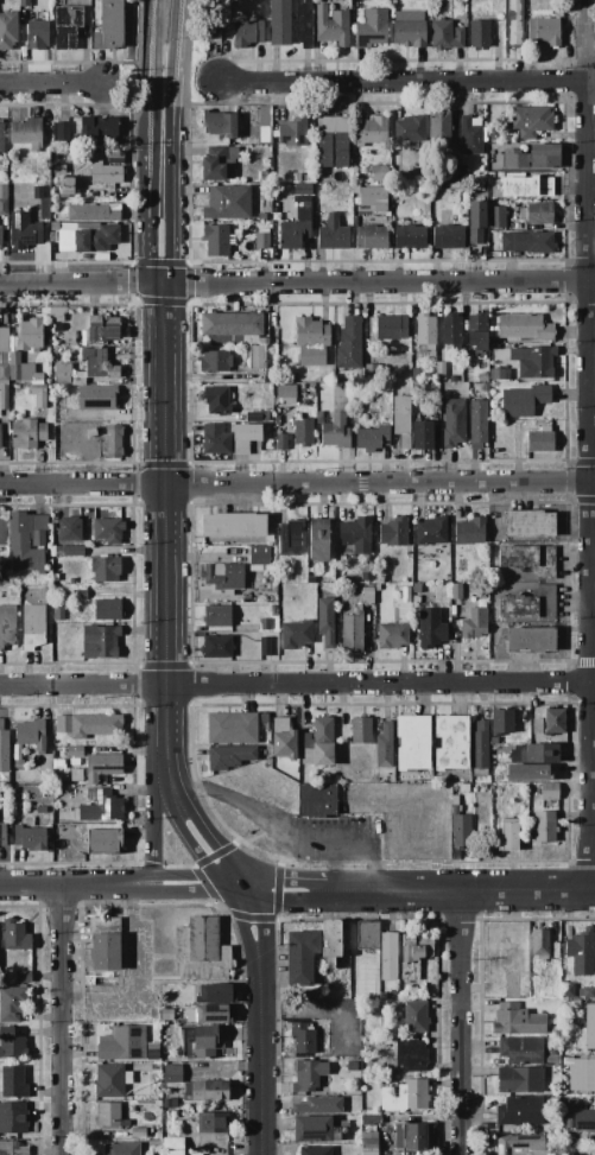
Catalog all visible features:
building: (23, 9)
road: (581, 12)
road: (154, 21)
building: (279, 23)
building: (514, 23)
building: (303, 24)
building: (109, 26)
building: (331, 26)
building: (68, 27)
building: (8, 30)
building: (372, 30)
building: (37, 31)
building: (543, 32)
building: (247, 33)
building: (409, 33)
building: (477, 34)
building: (445, 36)
road: (177, 52)
road: (151, 74)
road: (406, 78)
road: (50, 85)
road: (119, 104)
road: (203, 104)
building: (530, 120)
building: (219, 123)
building: (97, 127)
building: (409, 128)
building: (439, 129)
building: (62, 131)
building: (371, 131)
building: (293, 132)
building: (26, 133)
road: (148, 134)
building: (1, 137)
building: (470, 137)
building: (341, 140)
building: (115, 157)
building: (532, 157)
building: (219, 164)
building: (58, 169)
building: (105, 173)
building: (379, 173)
building: (462, 176)
building: (262, 177)
building: (296, 177)
building: (306, 178)
building: (452, 185)
building: (67, 186)
building: (526, 186)
building: (38, 192)
road: (173, 196)
building: (372, 197)
building: (4, 199)
building: (228, 203)
building: (93, 211)
building: (537, 214)
building: (261, 216)
building: (496, 217)
building: (476, 221)
road: (146, 226)
building: (296, 226)
building: (26, 230)
building: (333, 234)
building: (371, 236)
building: (448, 236)
building: (0, 237)
building: (94, 237)
building: (410, 237)
building: (215, 240)
building: (261, 241)
building: (511, 242)
building: (539, 243)
road: (297, 284)
building: (57, 315)
building: (391, 326)
building: (102, 328)
building: (232, 328)
building: (524, 328)
building: (451, 330)
building: (425, 331)
building: (476, 331)
building: (29, 335)
building: (311, 341)
building: (348, 343)
building: (4, 355)
building: (257, 357)
building: (214, 361)
building: (533, 361)
building: (97, 363)
building: (21, 370)
building: (441, 370)
building: (62, 372)
building: (371, 372)
building: (498, 375)
building: (285, 392)
building: (38, 394)
building: (4, 396)
building: (216, 400)
building: (524, 401)
building: (107, 412)
building: (252, 417)
building: (318, 417)
building: (62, 419)
building: (401, 420)
building: (454, 423)
building: (477, 424)
building: (64, 426)
building: (302, 431)
building: (335, 432)
building: (27, 433)
building: (422, 436)
building: (243, 437)
building: (0, 439)
building: (215, 439)
building: (372, 439)
building: (540, 440)
building: (113, 442)
building: (280, 442)
road: (594, 457)
road: (297, 484)
building: (528, 523)
building: (233, 525)
building: (107, 531)
building: (431, 531)
building: (469, 531)
building: (393, 532)
building: (2, 533)
building: (355, 534)
building: (290, 538)
building: (317, 539)
building: (26, 541)
building: (87, 541)
building: (67, 551)
building: (259, 558)
building: (528, 559)
road: (594, 563)
building: (400, 565)
building: (105, 569)
building: (53, 577)
building: (222, 577)
building: (366, 577)
building: (311, 579)
building: (12, 591)
building: (455, 592)
building: (44, 595)
building: (78, 595)
building: (416, 596)
building: (378, 604)
building: (528, 604)
building: (106, 610)
building: (273, 610)
building: (58, 613)
building: (355, 614)
building: (216, 616)
building: (325, 621)
building: (264, 623)
building: (474, 623)
building: (7, 626)
building: (32, 627)
building: (430, 628)
building: (295, 634)
building: (392, 635)
building: (99, 641)
building: (531, 641)
building: (216, 647)
building: (265, 647)
road: (594, 680)
road: (296, 685)
building: (262, 718)
building: (553, 721)
building: (500, 724)
building: (88, 725)
building: (537, 726)
building: (230, 729)
building: (360, 730)
road: (166, 731)
building: (31, 736)
building: (283, 740)
building: (412, 742)
building: (318, 743)
building: (450, 743)
building: (4, 748)
building: (384, 748)
building: (480, 748)
building: (75, 751)
building: (538, 754)
building: (228, 757)
building: (74, 762)
building: (18, 764)
building: (101, 766)
building: (546, 773)
building: (76, 775)
building: (547, 791)
building: (2, 795)
building: (315, 800)
building: (103, 806)
building: (40, 810)
road: (255, 810)
building: (544, 827)
building: (460, 829)
road: (156, 830)
building: (2, 833)
building: (509, 834)
building: (30, 838)
building: (102, 842)
road: (337, 862)
road: (24, 886)
road: (102, 886)
road: (375, 890)
building: (14, 935)
building: (368, 935)
building: (331, 943)
building: (103, 944)
building: (539, 944)
building: (200, 951)
building: (581, 952)
building: (413, 954)
building: (300, 956)
building: (388, 956)
building: (23, 977)
building: (89, 982)
building: (565, 990)
building: (585, 992)
building: (214, 994)
building: (12, 1003)
building: (575, 1005)
building: (208, 1014)
building: (164, 1015)
building: (414, 1017)
road: (52, 1020)
building: (519, 1021)
road: (460, 1022)
building: (590, 1027)
building: (303, 1037)
building: (201, 1041)
building: (11, 1043)
building: (126, 1045)
building: (521, 1051)
building: (409, 1056)
building: (156, 1067)
building: (172, 1073)
building: (581, 1074)
building: (308, 1075)
building: (110, 1080)
building: (12, 1081)
building: (520, 1081)
building: (207, 1091)
building: (405, 1097)
building: (170, 1104)
building: (571, 1104)
building: (318, 1105)
building: (520, 1111)
building: (108, 1115)
building: (14, 1118)
building: (369, 1119)
building: (581, 1119)
building: (211, 1123)
building: (317, 1129)
building: (138, 1131)
building: (410, 1137)
building: (368, 1143)
building: (520, 1146)
building: (172, 1147)
building: (12, 1148)
building: (121, 1148)
building: (315, 1150)

